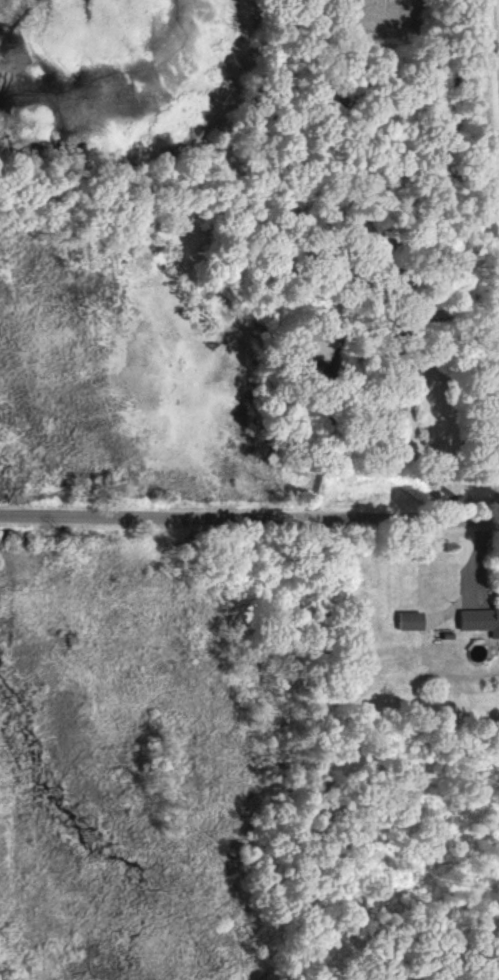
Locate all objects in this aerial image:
crop: (388, 14)
road: (364, 372)
road: (249, 512)
building: (409, 624)
building: (480, 624)

